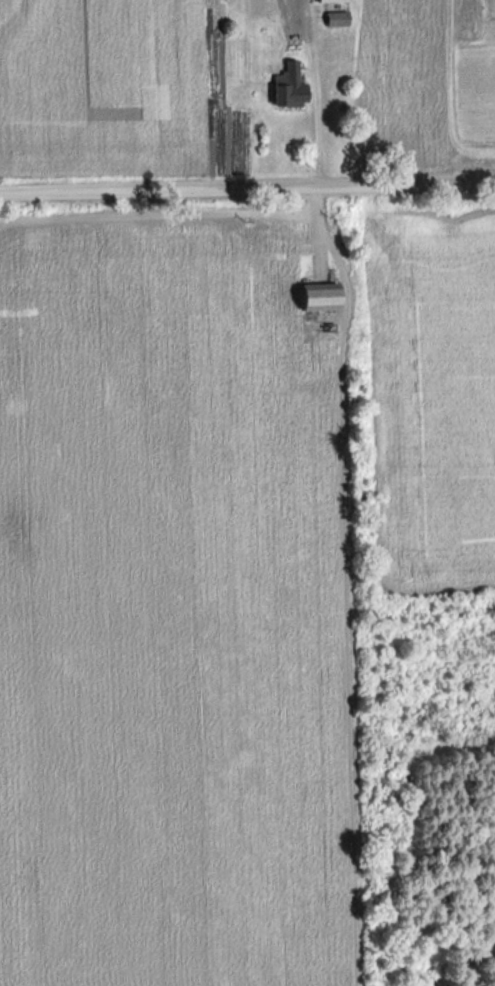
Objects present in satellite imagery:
building: (329, 2)
crop: (404, 74)
crop: (476, 75)
crop: (102, 87)
building: (287, 88)
road: (314, 90)
road: (247, 185)
building: (315, 298)
crop: (431, 398)
crop: (168, 608)

